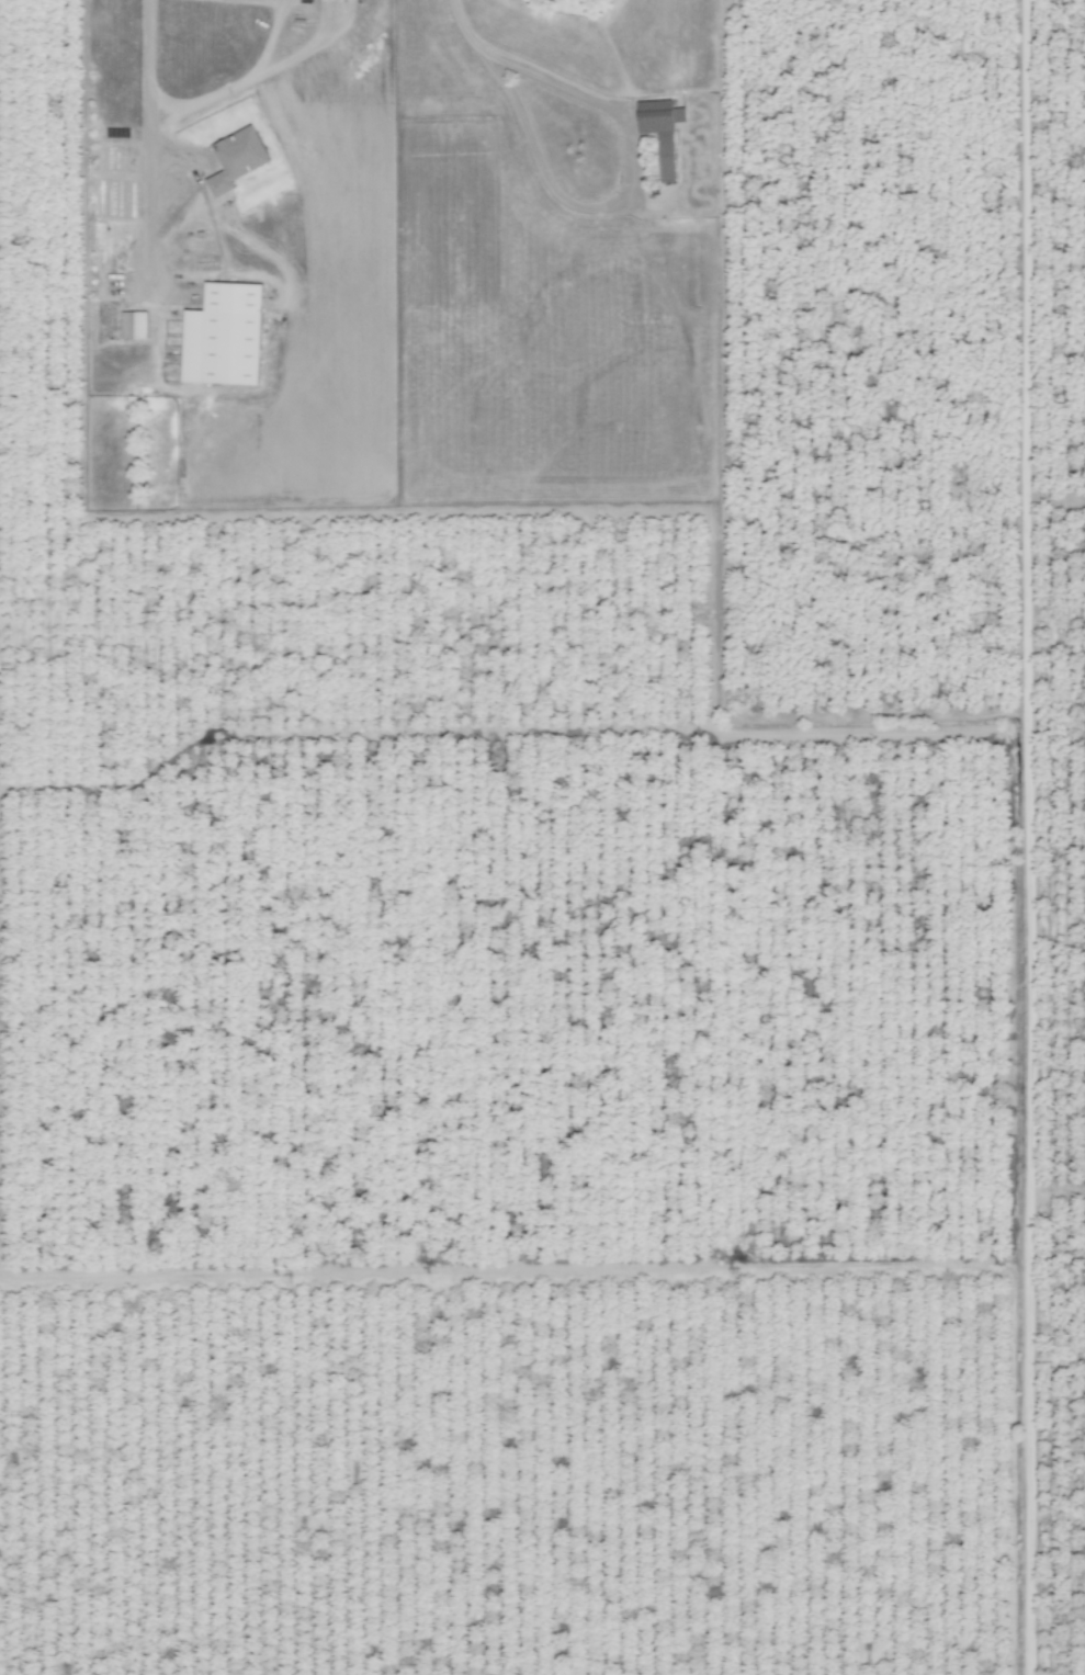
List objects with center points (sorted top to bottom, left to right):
building: (552, 0)
road: (270, 1)
road: (449, 24)
road: (269, 37)
road: (255, 76)
road: (143, 78)
building: (657, 131)
building: (233, 159)
road: (614, 193)
building: (131, 325)
building: (218, 335)

